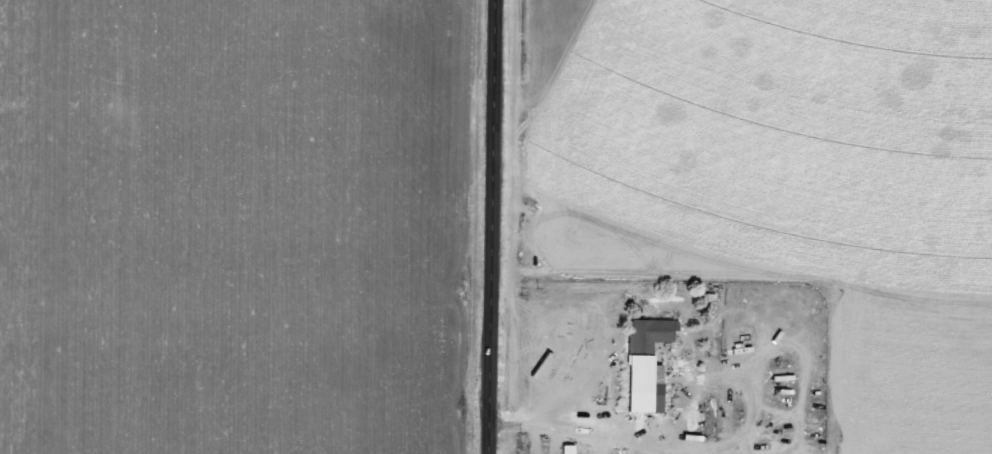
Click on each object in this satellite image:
road: (495, 227)

